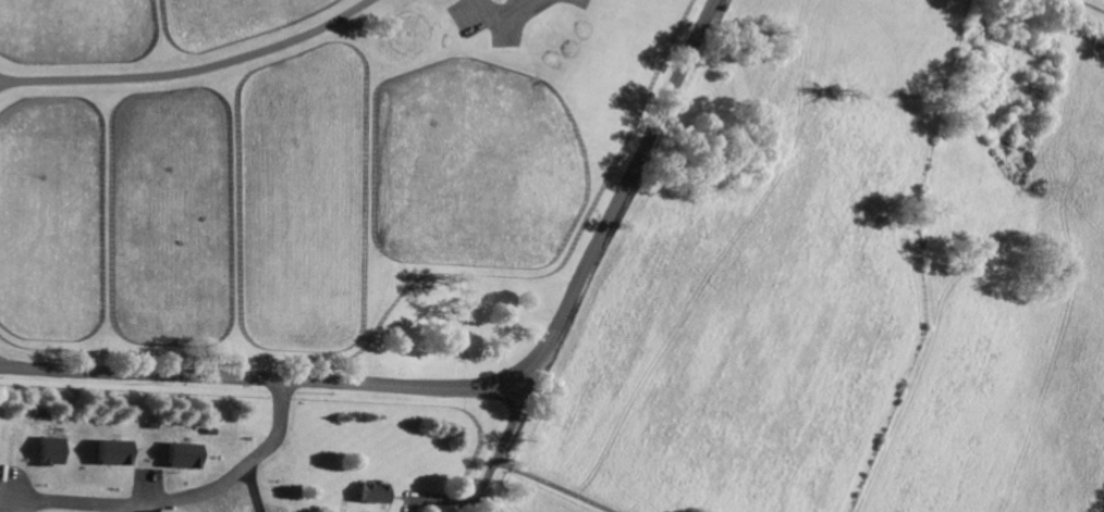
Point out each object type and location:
road: (187, 67)
road: (475, 390)
road: (501, 446)
building: (53, 451)
building: (116, 452)
building: (185, 455)
road: (250, 476)
road: (554, 486)
building: (377, 492)
road: (28, 511)

